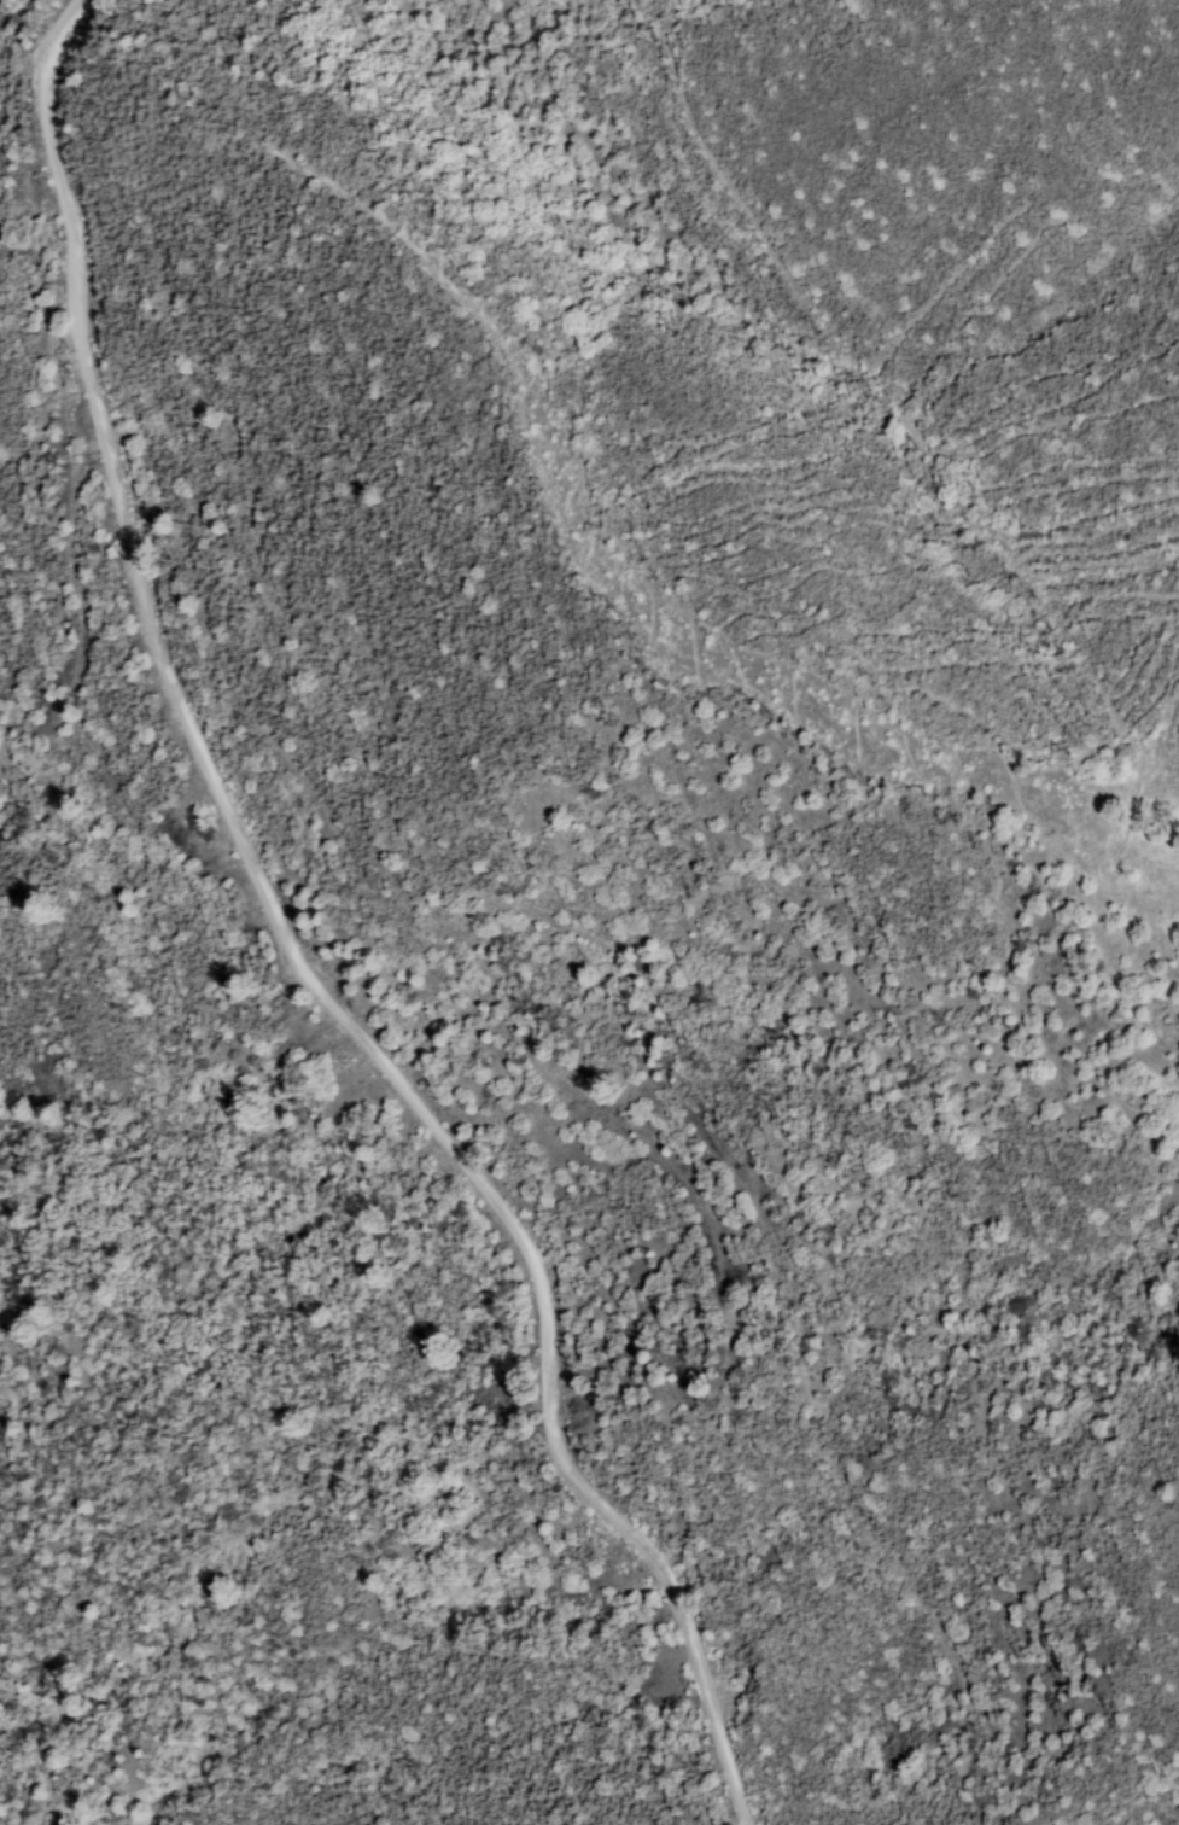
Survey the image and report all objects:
road: (284, 956)

